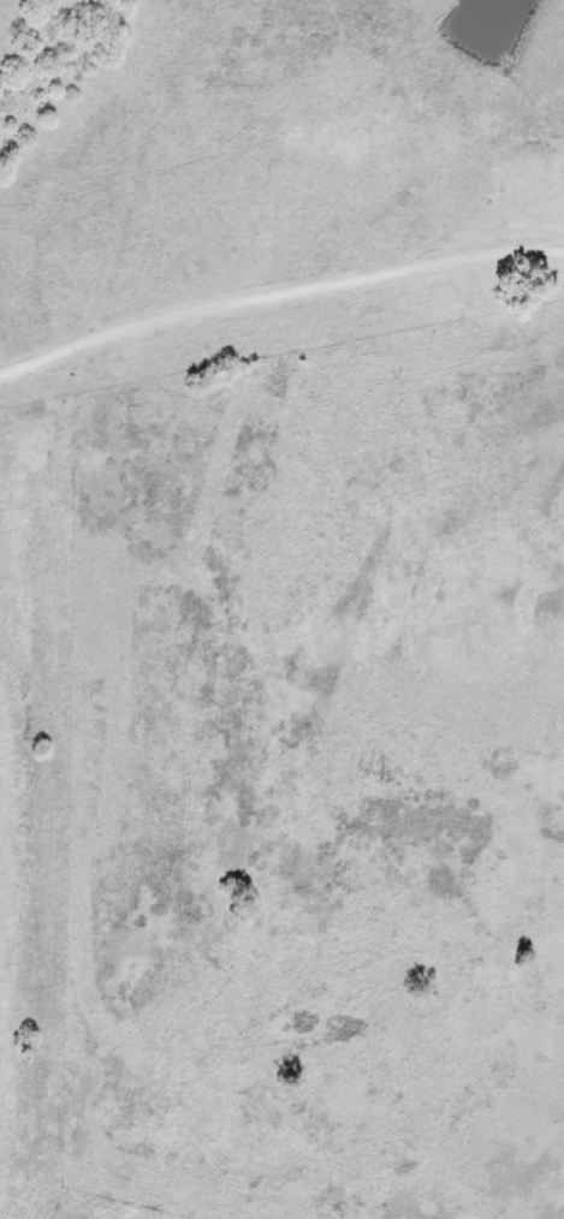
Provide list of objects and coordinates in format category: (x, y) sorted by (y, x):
road: (278, 311)

